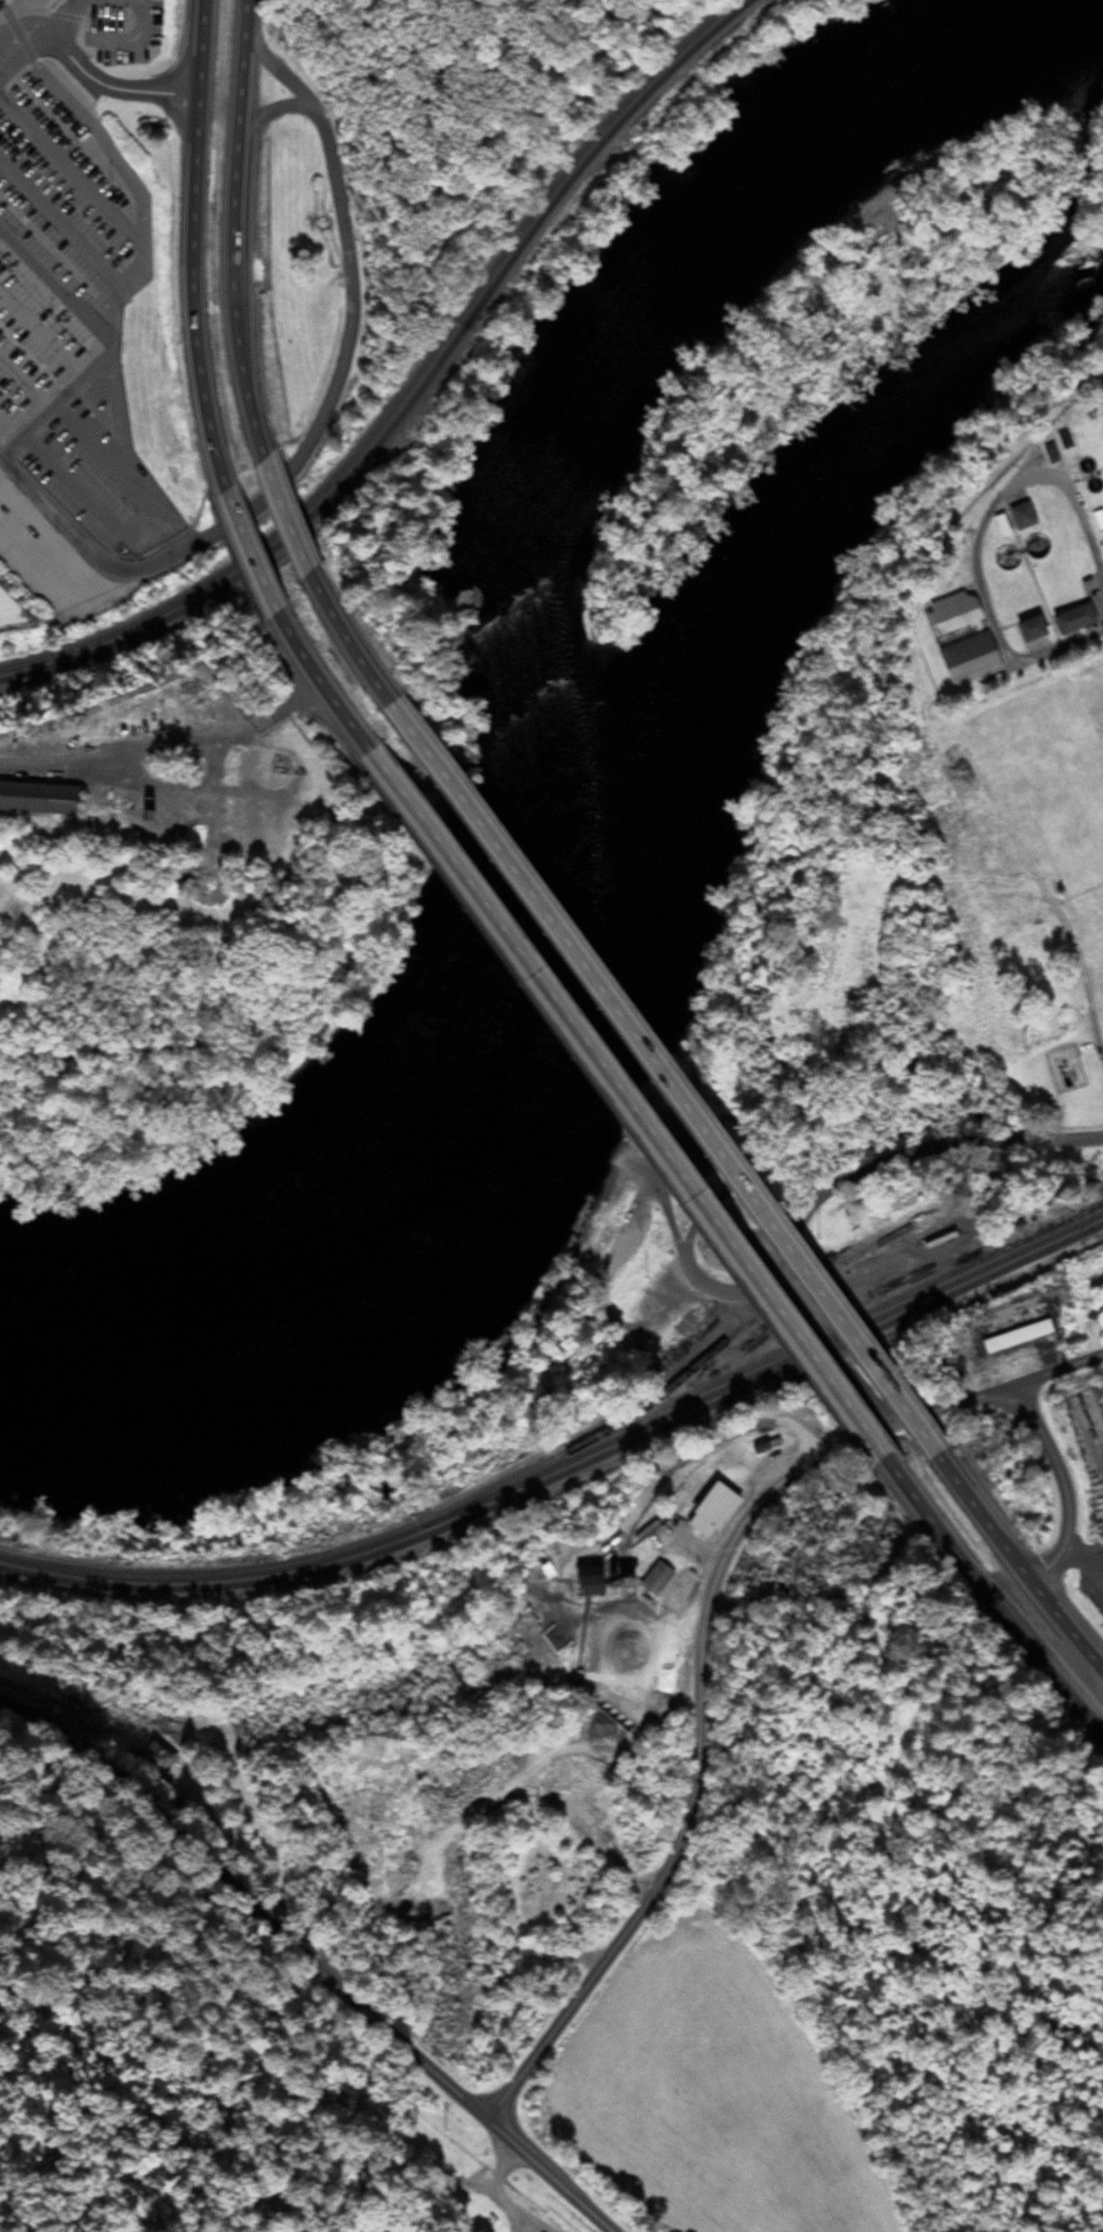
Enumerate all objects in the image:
building: (0, 7)
road: (111, 86)
road: (330, 189)
road: (410, 201)
road: (233, 231)
road: (189, 241)
railway: (403, 396)
road: (294, 460)
road: (216, 488)
building: (1018, 515)
road: (280, 519)
building: (1098, 519)
road: (89, 554)
road: (242, 554)
building: (1068, 619)
building: (1025, 628)
building: (955, 639)
road: (339, 641)
road: (1019, 659)
road: (304, 675)
river: (511, 718)
road: (162, 744)
building: (35, 799)
building: (138, 817)
road: (962, 892)
road: (651, 1081)
road: (609, 1106)
road: (831, 1188)
building: (1101, 1388)
railway: (566, 1462)
road: (903, 1478)
road: (1065, 1485)
building: (707, 1510)
road: (620, 1528)
road: (780, 1537)
road: (1080, 1556)
road: (1014, 1561)
building: (544, 1571)
building: (651, 1579)
building: (578, 1584)
road: (1003, 1617)
road: (704, 1646)
building: (149, 1759)
road: (609, 1849)
road: (912, 1952)
road: (312, 1963)

